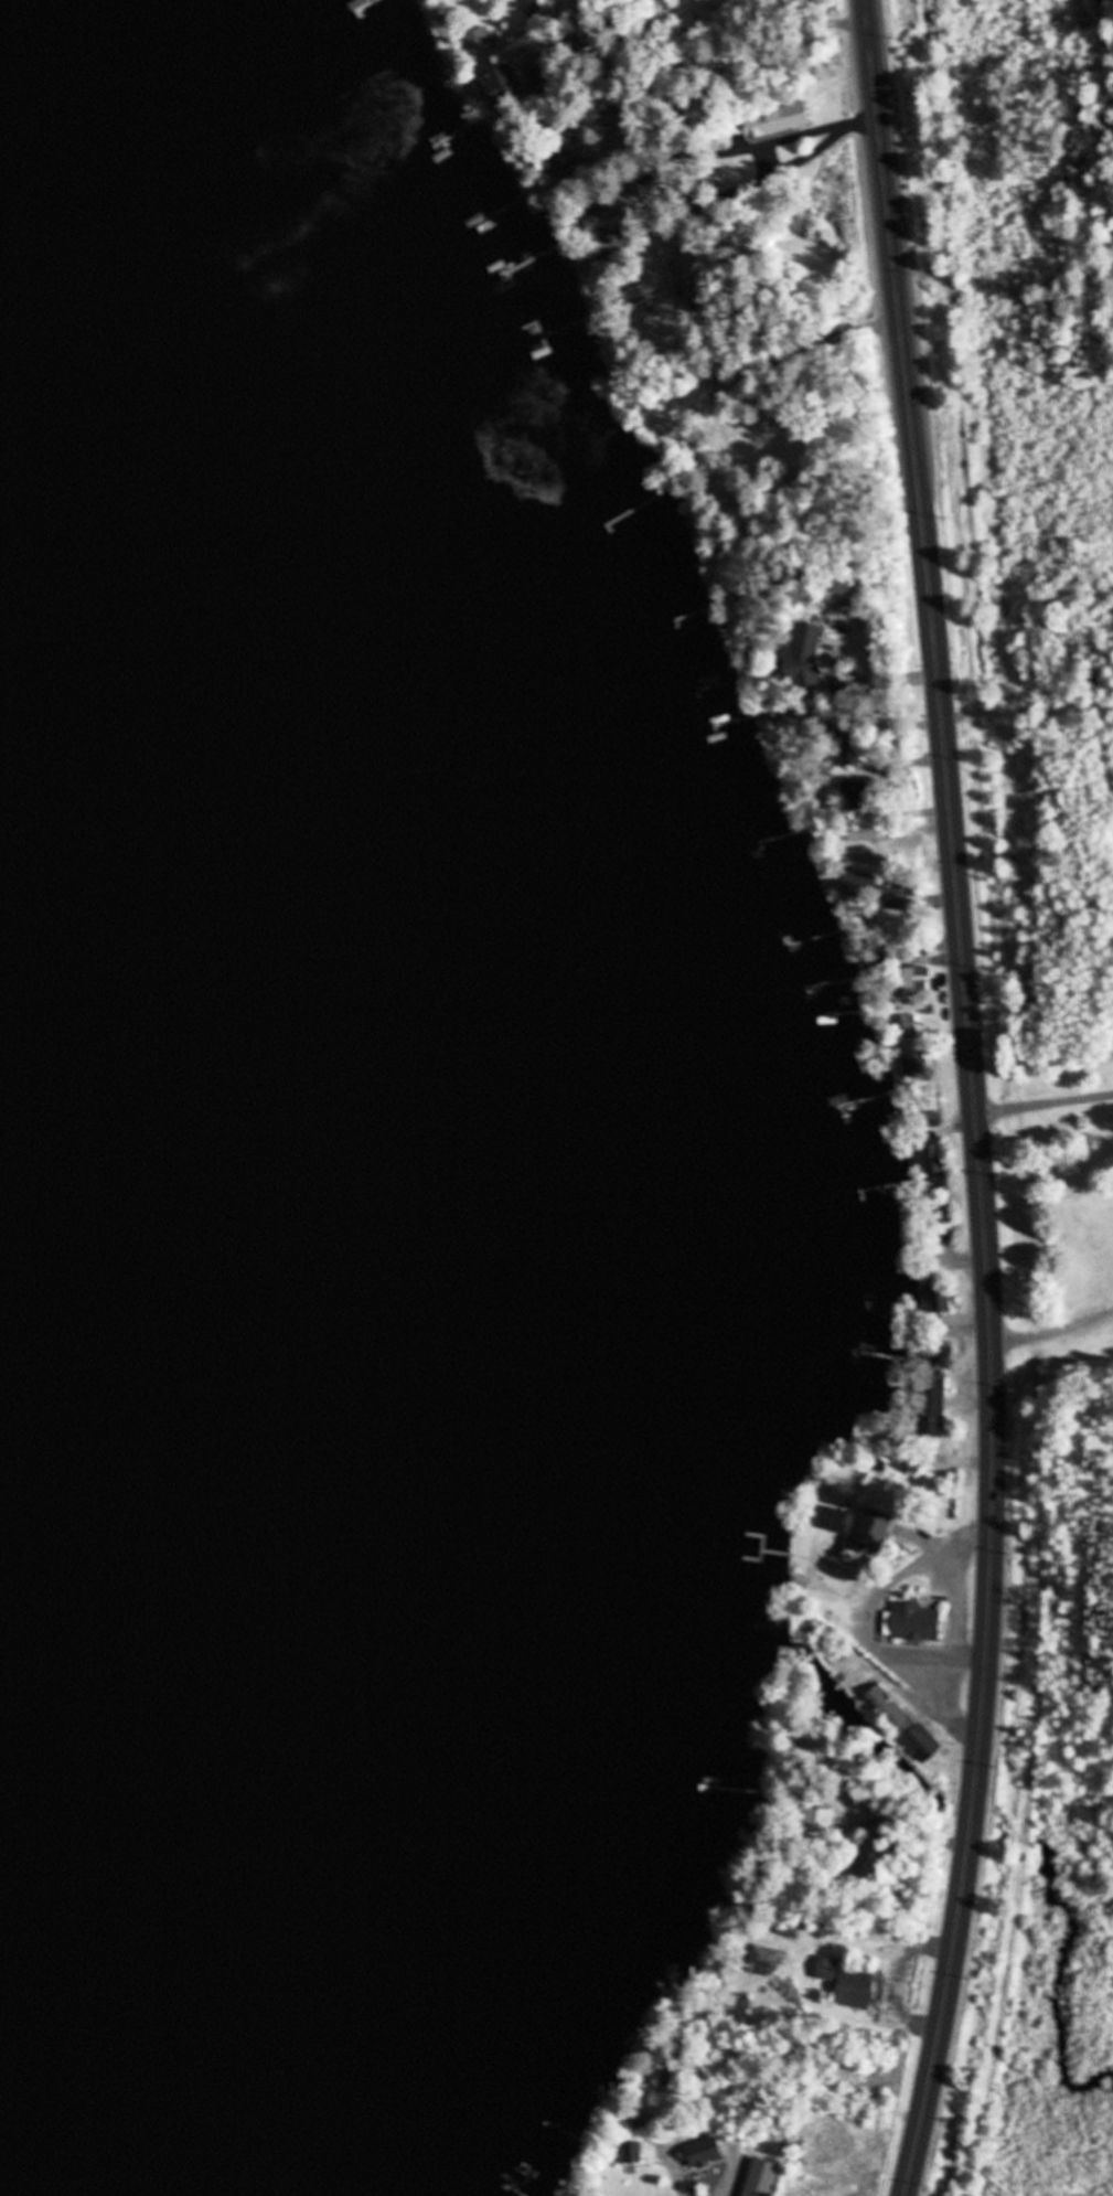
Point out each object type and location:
building: (482, 42)
building: (791, 118)
building: (757, 129)
road: (781, 151)
building: (617, 238)
building: (677, 241)
building: (809, 659)
park: (1032, 704)
building: (867, 833)
building: (861, 886)
building: (918, 982)
road: (975, 1099)
road: (1045, 1104)
building: (941, 1300)
road: (1052, 1329)
building: (934, 1399)
building: (841, 1511)
building: (875, 1535)
building: (918, 1623)
building: (905, 1725)
building: (793, 1929)
building: (766, 1961)
building: (848, 1985)
building: (705, 2153)
building: (630, 2154)
building: (762, 2178)

